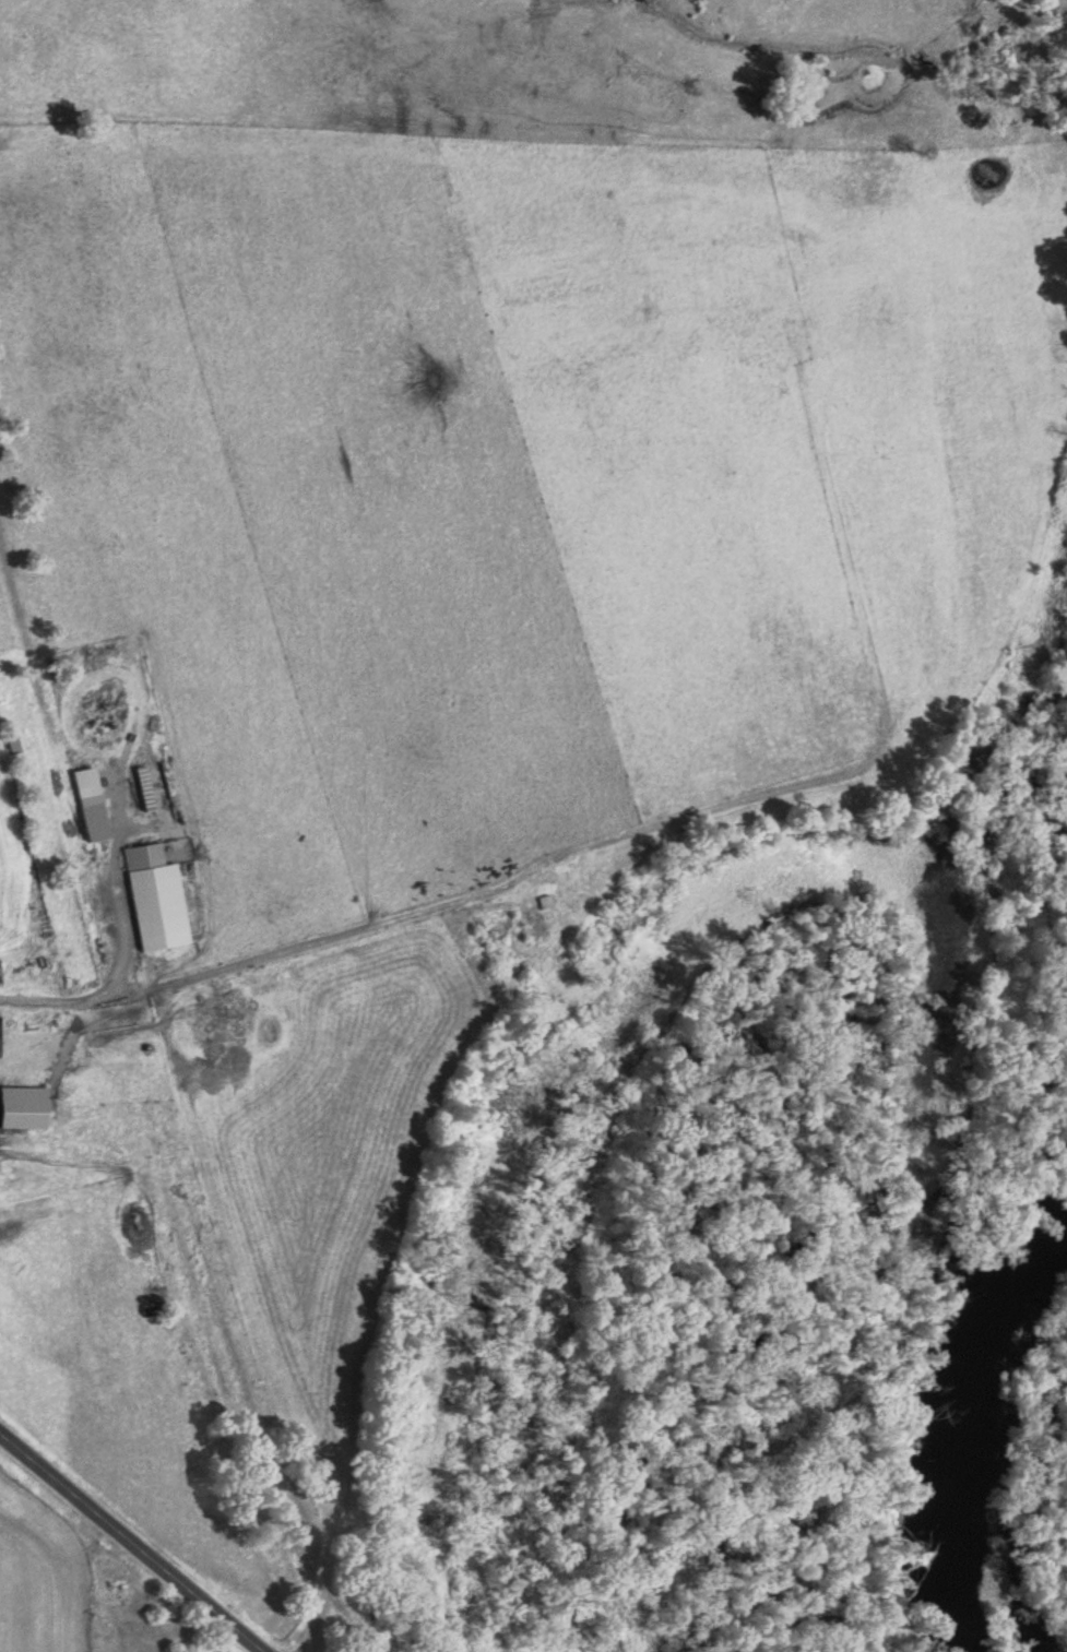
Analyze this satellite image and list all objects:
building: (97, 702)
building: (13, 744)
building: (87, 805)
building: (156, 899)
building: (544, 903)
road: (109, 962)
river: (973, 1447)
road: (133, 1542)

